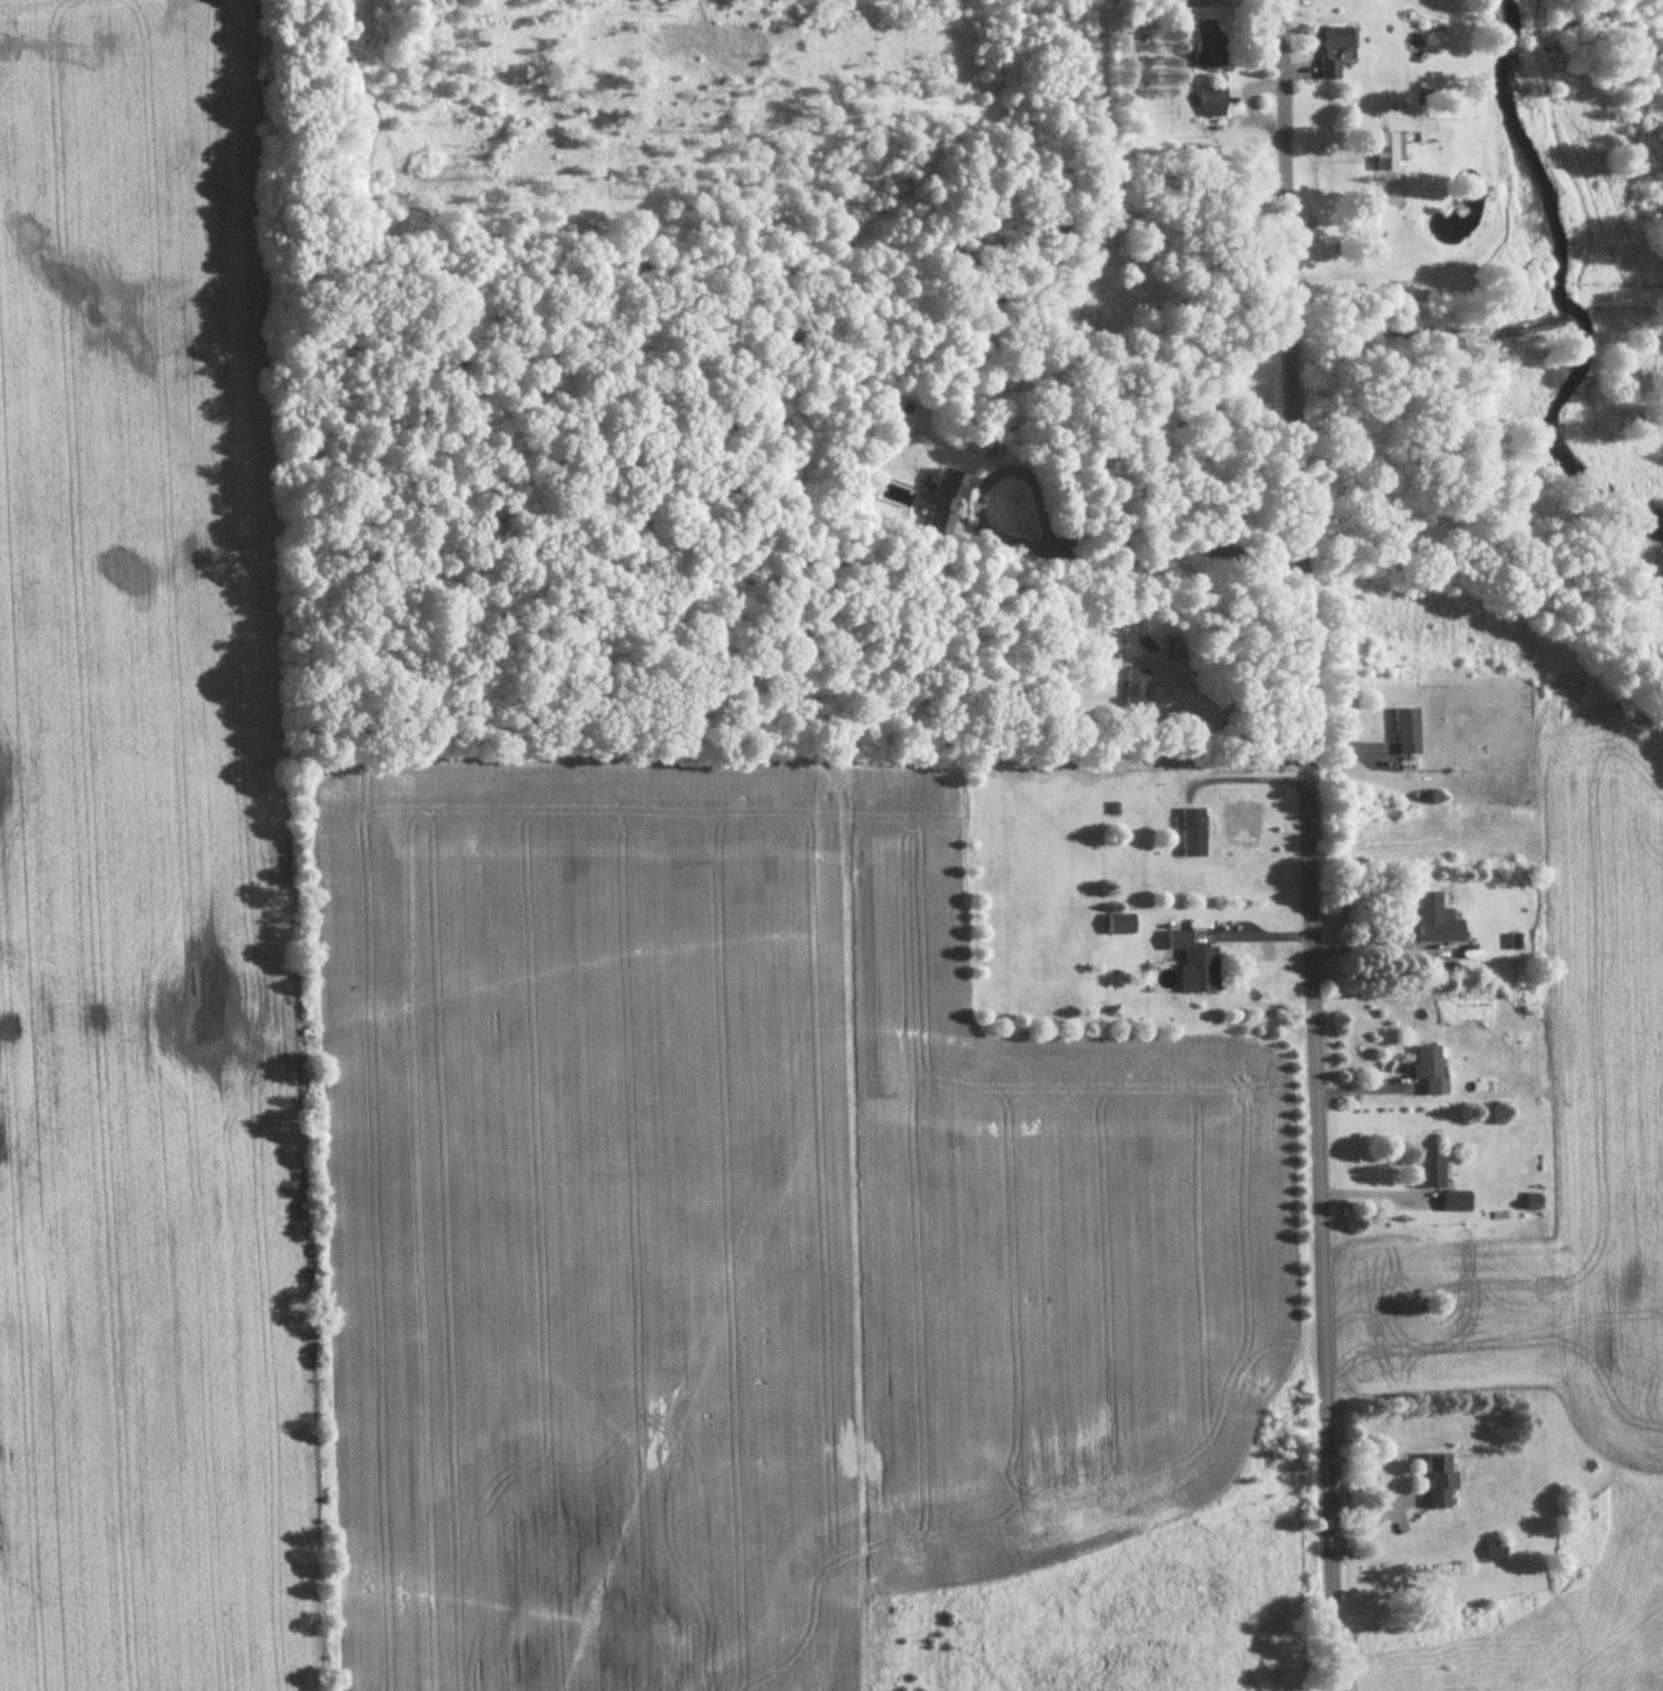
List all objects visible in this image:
building: (1209, 47)
building: (1331, 51)
building: (1213, 104)
building: (1388, 153)
building: (948, 505)
road: (1141, 551)
building: (1136, 691)
road: (1227, 706)
building: (1407, 733)
road: (1242, 782)
building: (1193, 833)
road: (1302, 844)
building: (1437, 921)
building: (1119, 925)
road: (1246, 930)
road: (1377, 947)
building: (1195, 965)
building: (1427, 1065)
building: (1432, 1174)
building: (1457, 1203)
building: (1440, 1482)
building: (1495, 1552)

